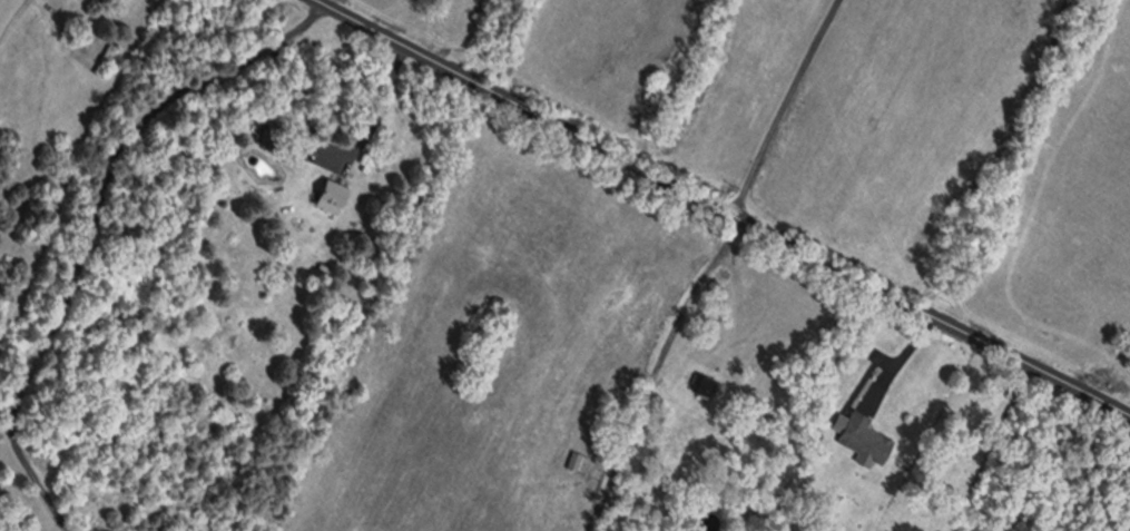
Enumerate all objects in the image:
road: (387, 106)
road: (794, 109)
road: (724, 209)
road: (904, 362)

